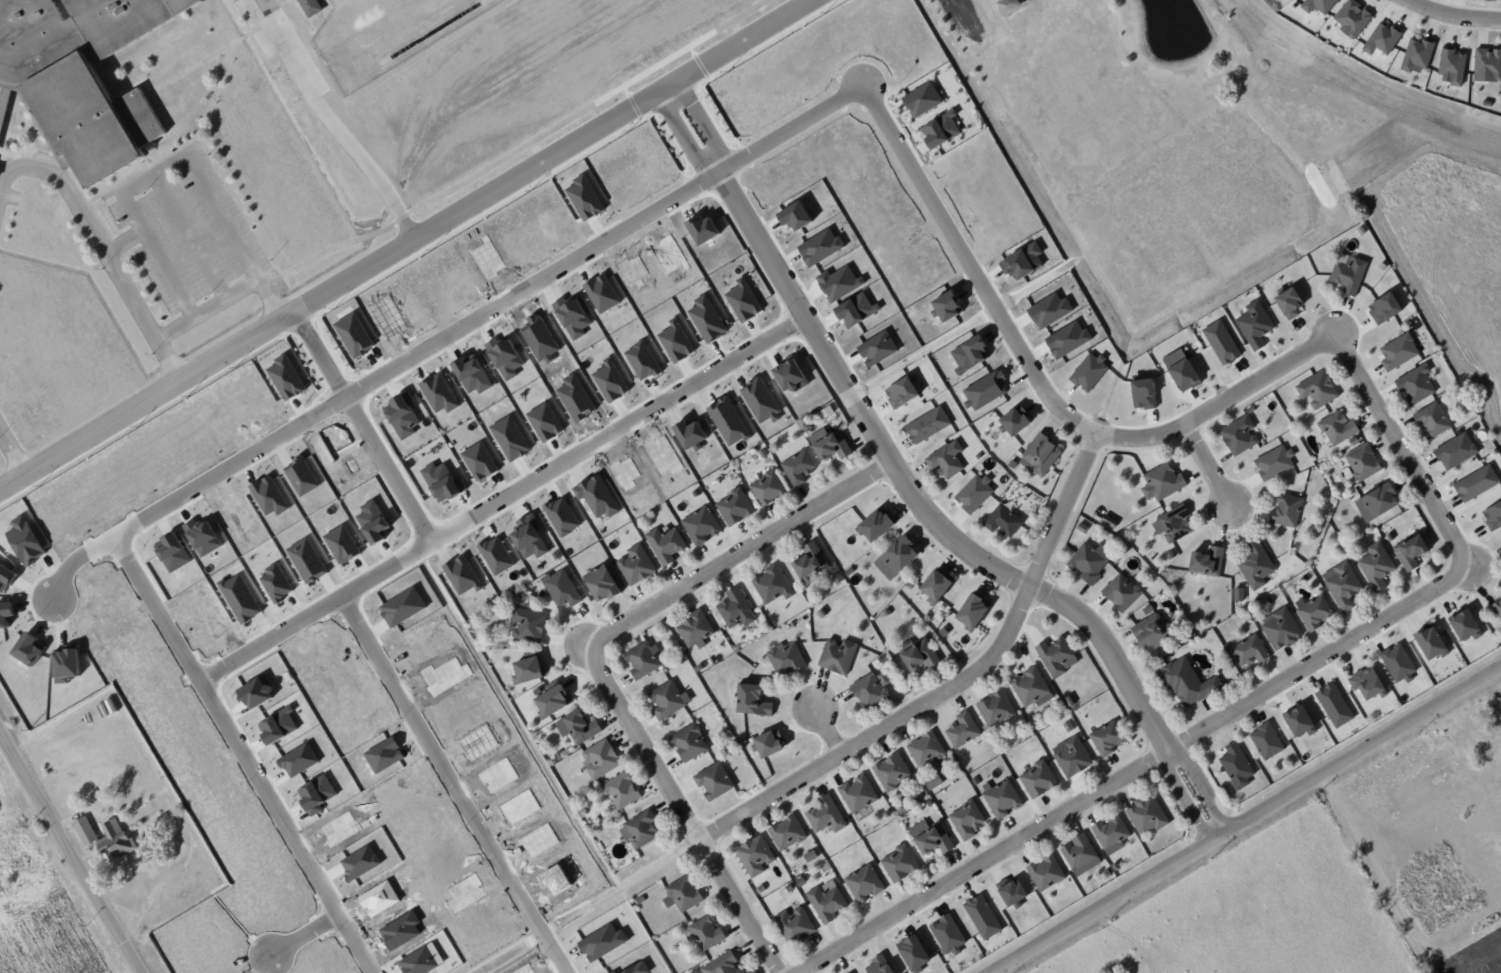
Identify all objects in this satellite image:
building: (1316, 5)
building: (313, 7)
road: (1454, 14)
road: (965, 19)
building: (1350, 19)
building: (1380, 39)
parking lot: (283, 43)
building: (1415, 55)
building: (1486, 65)
building: (1450, 67)
park: (1111, 71)
building: (83, 77)
building: (920, 99)
building: (5, 111)
road: (331, 122)
building: (938, 128)
road: (518, 150)
road: (177, 161)
road: (717, 170)
road: (61, 179)
building: (582, 197)
building: (790, 215)
parking lot: (187, 226)
building: (699, 228)
road: (190, 236)
road: (124, 240)
road: (406, 244)
building: (819, 247)
building: (1020, 260)
building: (1346, 272)
building: (838, 282)
building: (600, 292)
building: (741, 300)
building: (1285, 303)
building: (942, 306)
road: (207, 308)
building: (852, 308)
building: (1382, 308)
building: (1047, 310)
road: (143, 315)
building: (570, 316)
building: (706, 318)
building: (1253, 324)
building: (351, 334)
road: (451, 334)
building: (676, 338)
building: (1066, 339)
building: (1219, 342)
building: (876, 348)
building: (1397, 351)
building: (655, 352)
building: (967, 353)
building: (504, 358)
building: (641, 360)
building: (1178, 370)
building: (1088, 371)
building: (470, 374)
building: (786, 375)
building: (284, 376)
building: (609, 380)
building: (1415, 385)
building: (1317, 389)
building: (984, 390)
building: (898, 391)
building: (438, 392)
building: (1141, 393)
building: (760, 400)
building: (400, 415)
building: (1012, 419)
building: (1432, 419)
building: (543, 421)
building: (727, 421)
building: (926, 425)
road: (364, 427)
building: (1337, 427)
building: (686, 433)
road: (1151, 435)
building: (1237, 435)
building: (509, 437)
building: (828, 443)
road: (12, 451)
building: (1454, 451)
building: (1038, 455)
building: (945, 459)
building: (478, 461)
building: (1273, 462)
building: (1362, 462)
road: (1207, 466)
building: (797, 467)
building: (442, 480)
building: (1160, 482)
building: (1474, 483)
building: (766, 487)
road: (910, 491)
building: (972, 493)
road: (501, 499)
building: (1374, 501)
building: (734, 506)
building: (1285, 510)
building: (560, 515)
building: (1492, 515)
building: (1002, 520)
building: (370, 521)
building: (1171, 523)
building: (700, 525)
building: (871, 525)
building: (527, 538)
building: (22, 540)
building: (664, 544)
building: (1409, 551)
building: (176, 552)
road: (738, 554)
building: (495, 555)
building: (894, 556)
building: (806, 560)
building: (1088, 561)
building: (1206, 561)
building: (635, 564)
building: (1255, 565)
building: (1376, 565)
building: (4, 574)
building: (460, 575)
building: (598, 583)
building: (771, 583)
building: (1342, 584)
building: (932, 585)
building: (560, 588)
building: (1120, 591)
building: (1496, 606)
building: (399, 607)
building: (734, 608)
building: (969, 611)
building: (1313, 611)
building: (5, 613)
building: (527, 624)
building: (1462, 625)
building: (1149, 628)
building: (1280, 628)
building: (693, 629)
building: (1428, 642)
building: (25, 649)
building: (1248, 650)
building: (916, 654)
building: (836, 656)
building: (1055, 656)
building: (784, 658)
building: (641, 659)
building: (1396, 662)
building: (68, 664)
building: (530, 669)
building: (1187, 682)
building: (1366, 684)
road: (953, 685)
building: (1031, 687)
building: (260, 690)
building: (870, 690)
building: (549, 699)
building: (666, 699)
building: (749, 700)
building: (1333, 704)
building: (994, 708)
building: (1295, 720)
building: (275, 725)
building: (576, 727)
building: (961, 729)
road: (828, 730)
building: (1106, 738)
building: (1265, 740)
building: (687, 742)
building: (766, 742)
building: (925, 749)
road: (243, 754)
building: (1070, 756)
building: (599, 758)
building: (299, 760)
building: (1235, 766)
road: (1133, 768)
building: (890, 771)
building: (1036, 779)
building: (712, 781)
building: (932, 781)
road: (453, 784)
road: (1200, 784)
building: (620, 790)
building: (856, 793)
building: (313, 794)
road: (1182, 796)
building: (1000, 799)
road: (684, 808)
building: (824, 814)
building: (1146, 814)
building: (965, 819)
road: (1245, 819)
building: (638, 829)
building: (785, 832)
building: (1110, 834)
building: (104, 837)
building: (929, 837)
road: (70, 852)
building: (1079, 854)
building: (754, 855)
building: (808, 856)
building: (898, 863)
building: (1044, 872)
building: (863, 883)
building: (1009, 891)
building: (681, 893)
building: (825, 902)
building: (981, 917)
building: (795, 924)
building: (705, 933)
road: (303, 934)
building: (946, 934)
building: (600, 942)
building: (909, 953)
building: (720, 964)
building: (876, 965)
building: (848, 972)

